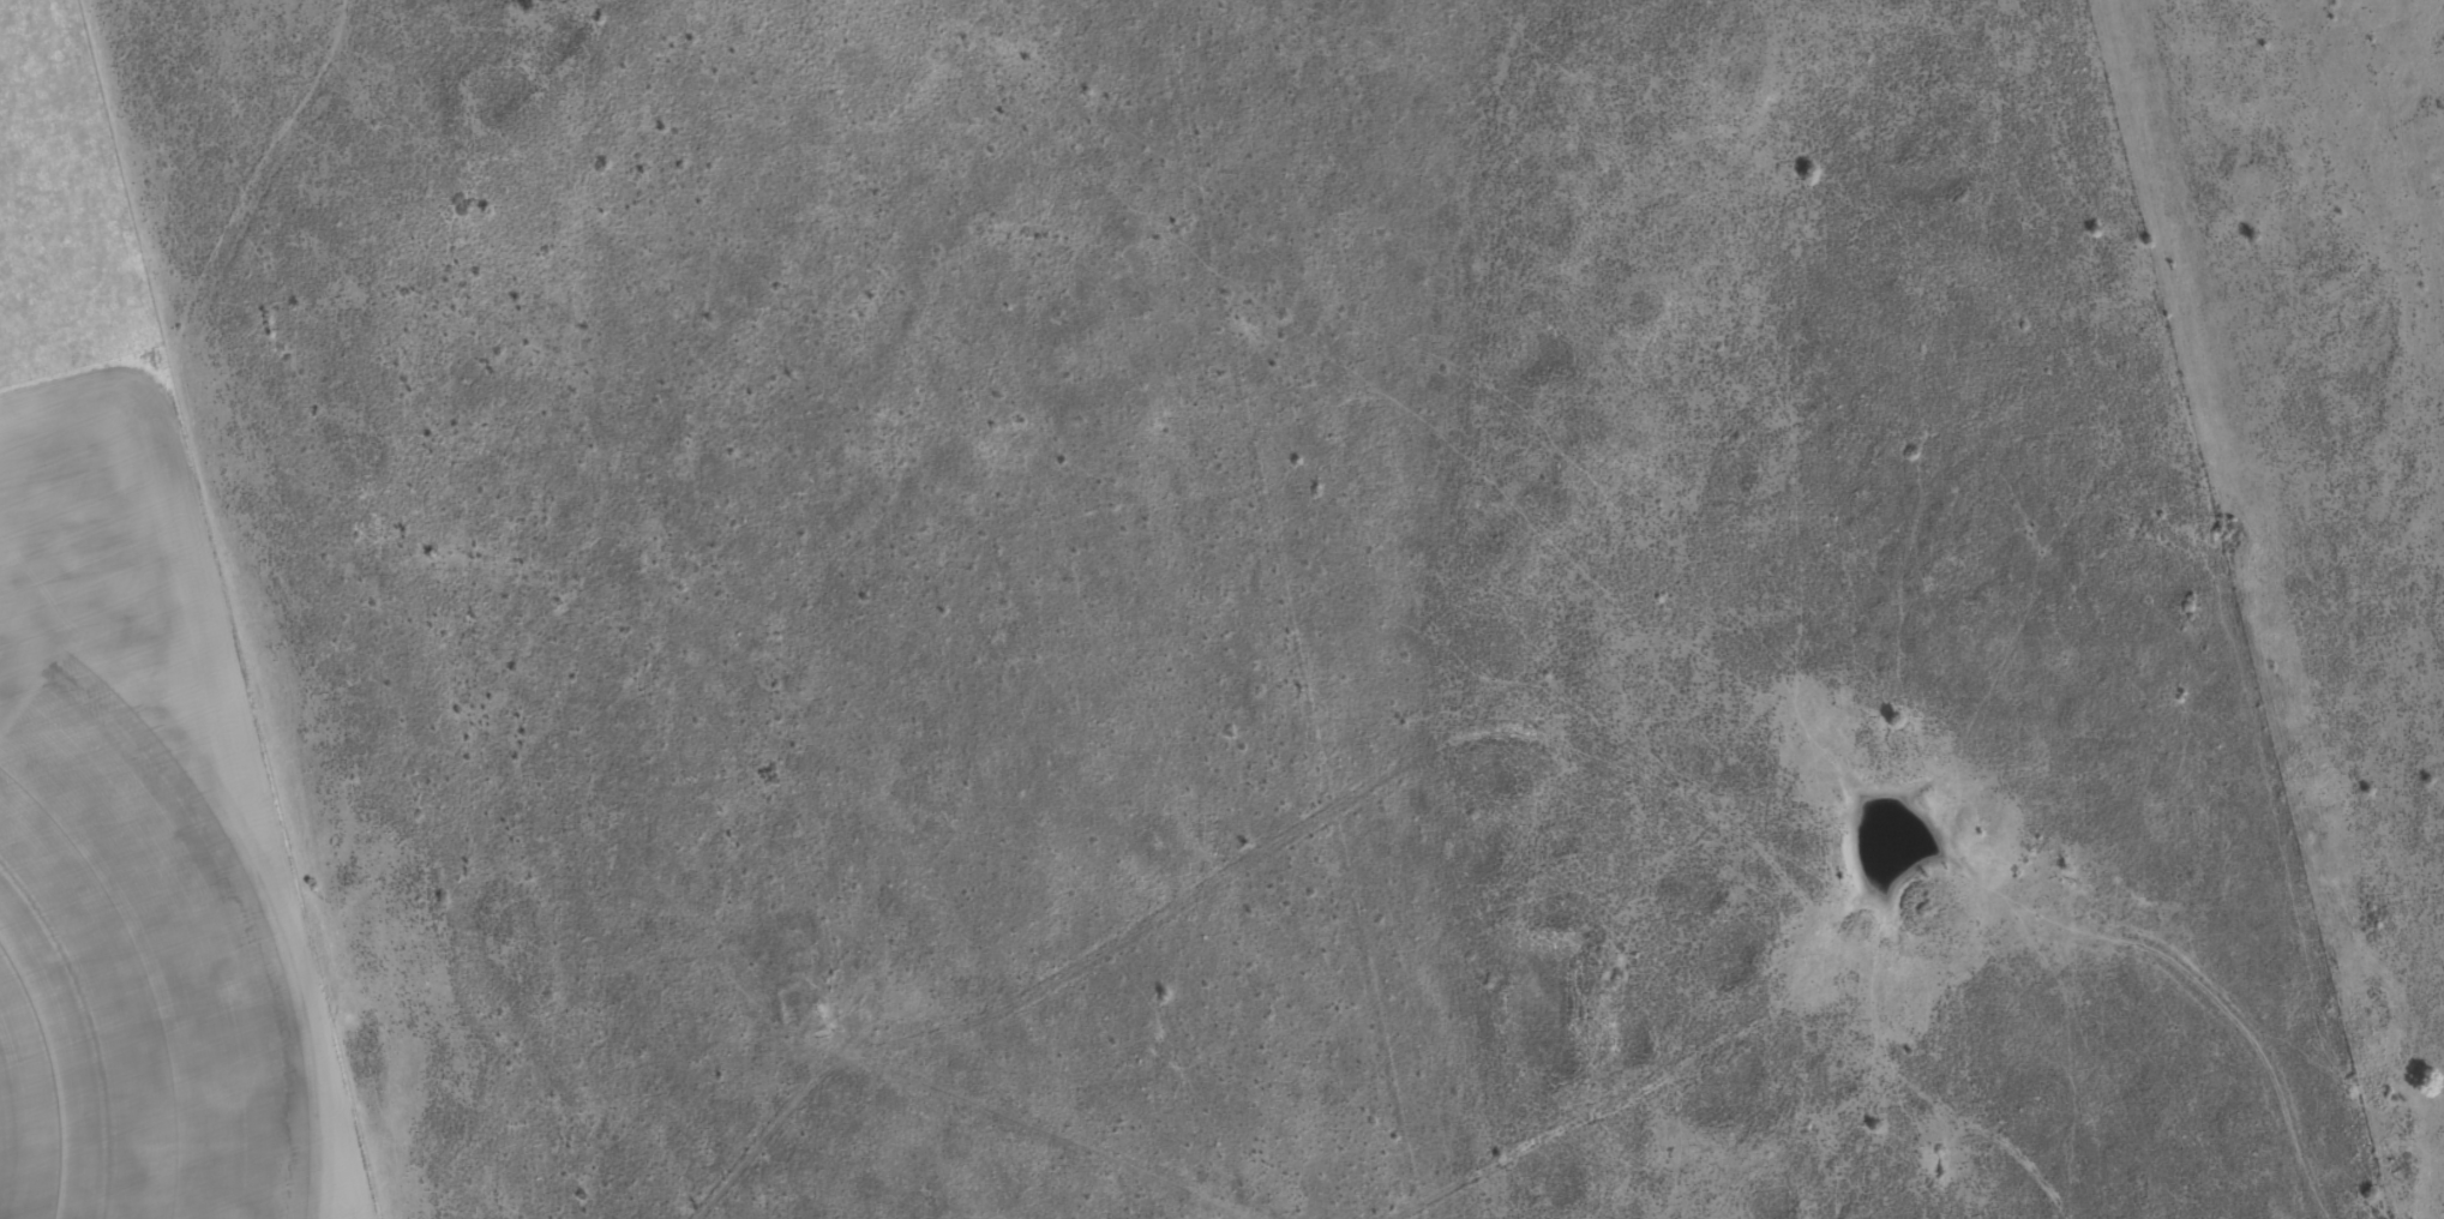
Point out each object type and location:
road: (1742, 1025)
road: (1052, 1127)
road: (756, 1139)

